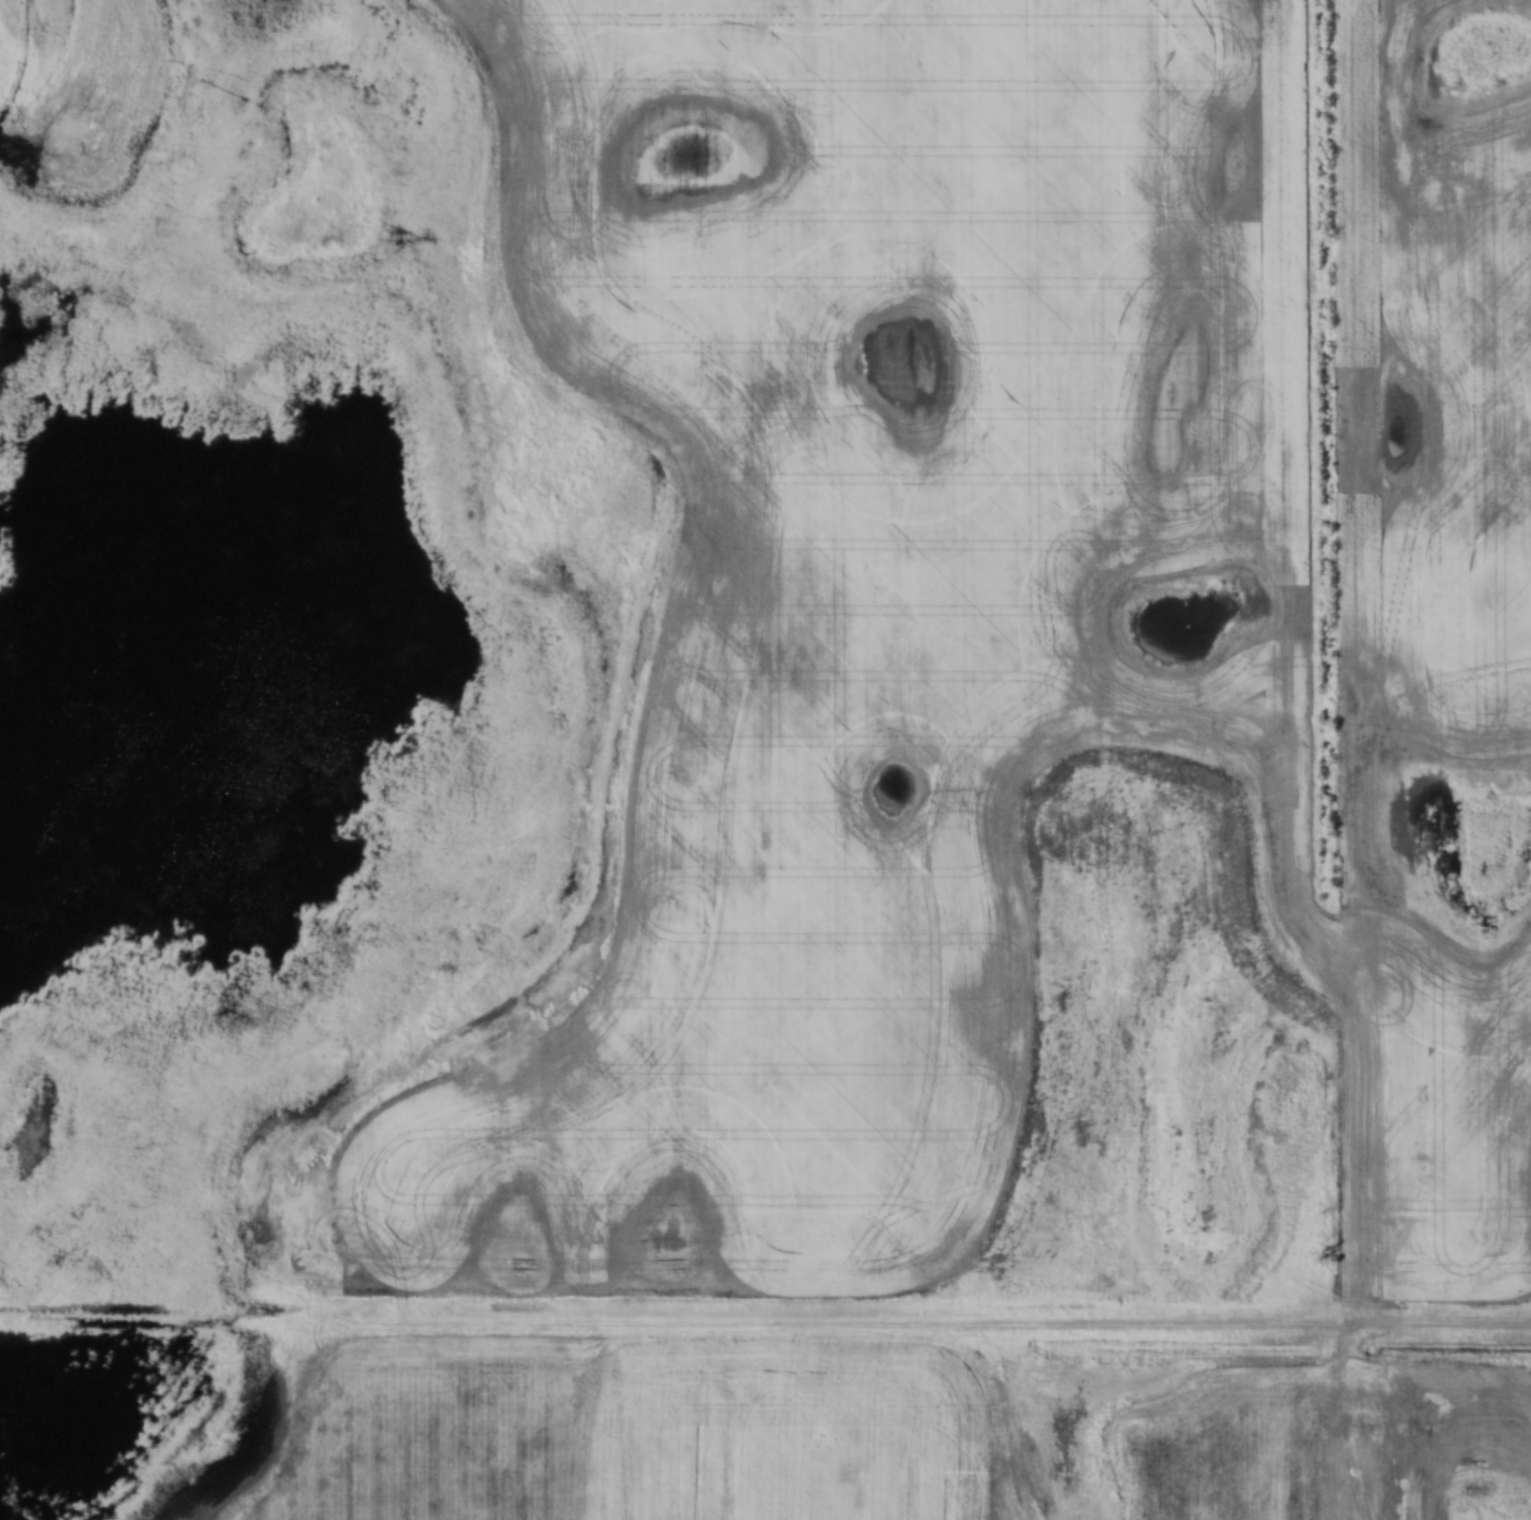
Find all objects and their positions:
road: (765, 1312)

